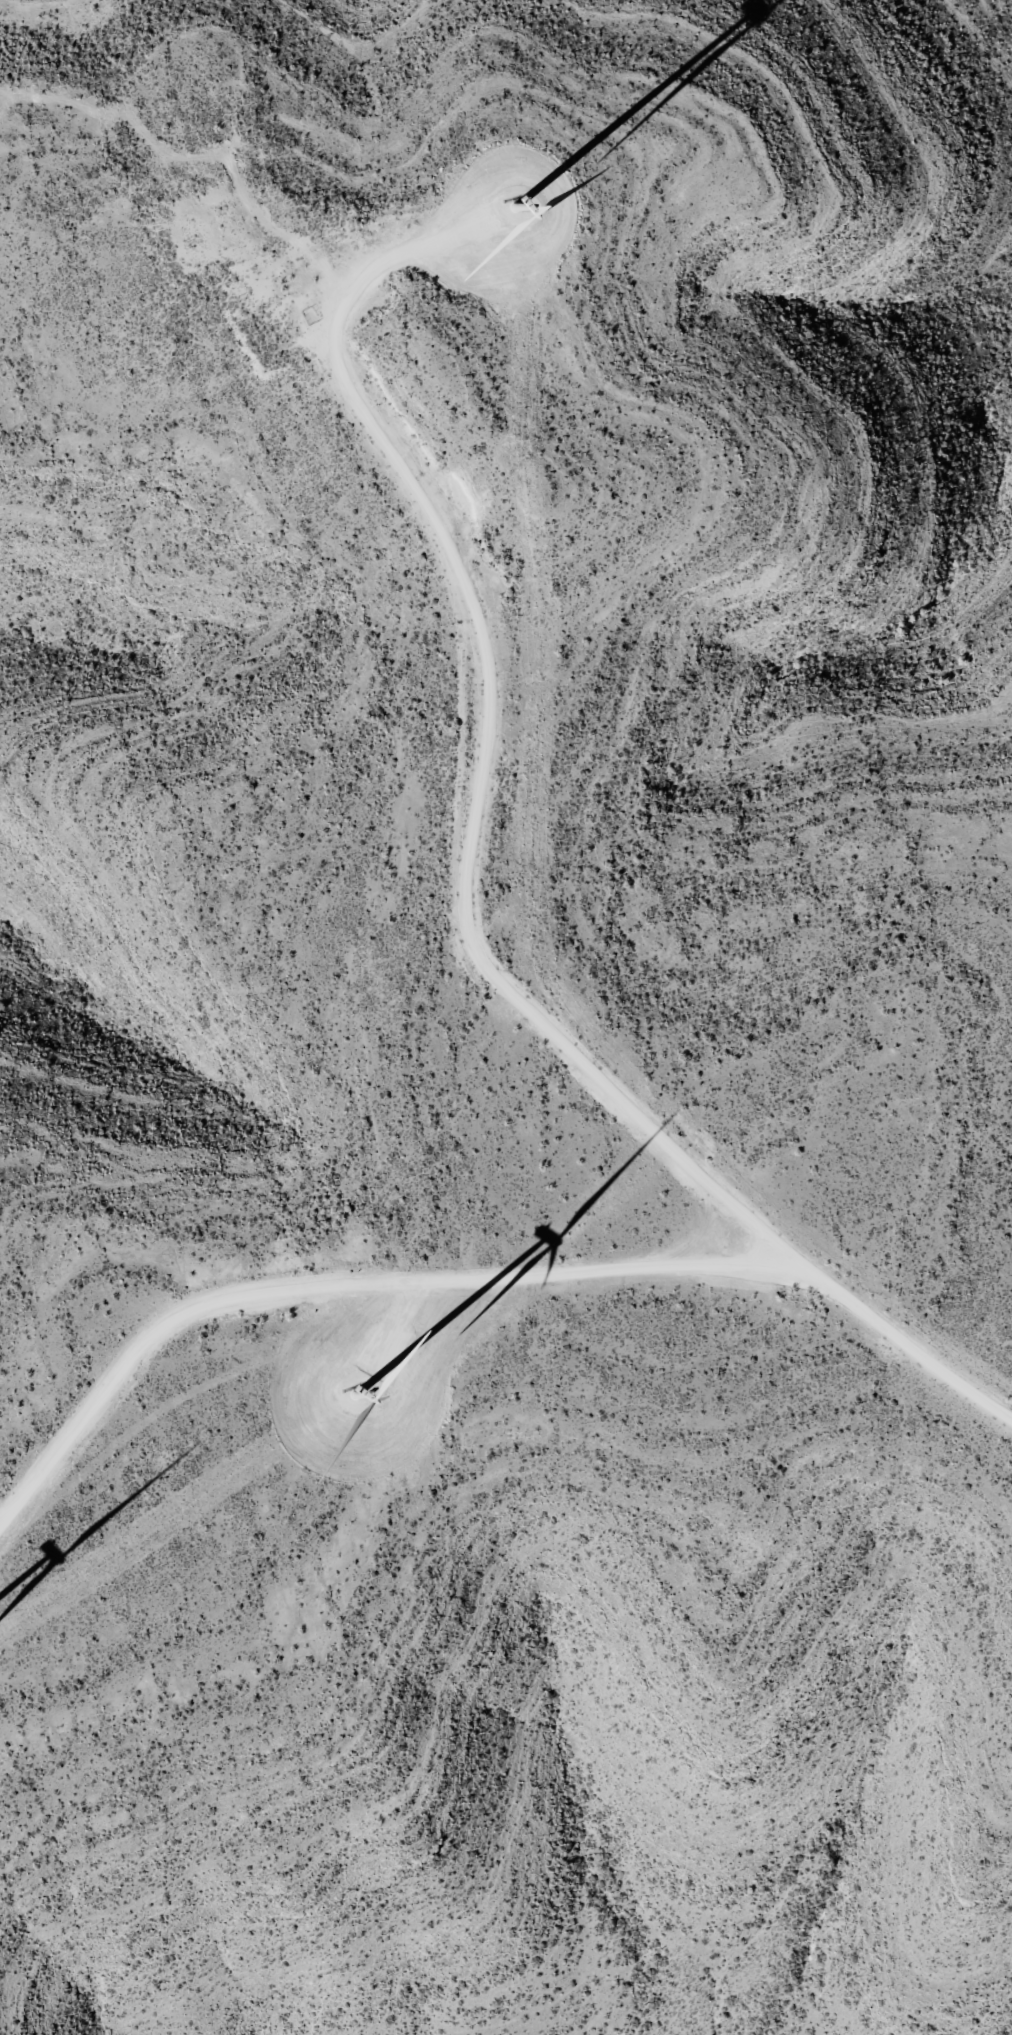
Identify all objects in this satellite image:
wind turbine: (515, 207)
road: (512, 981)
wind turbine: (357, 1393)

